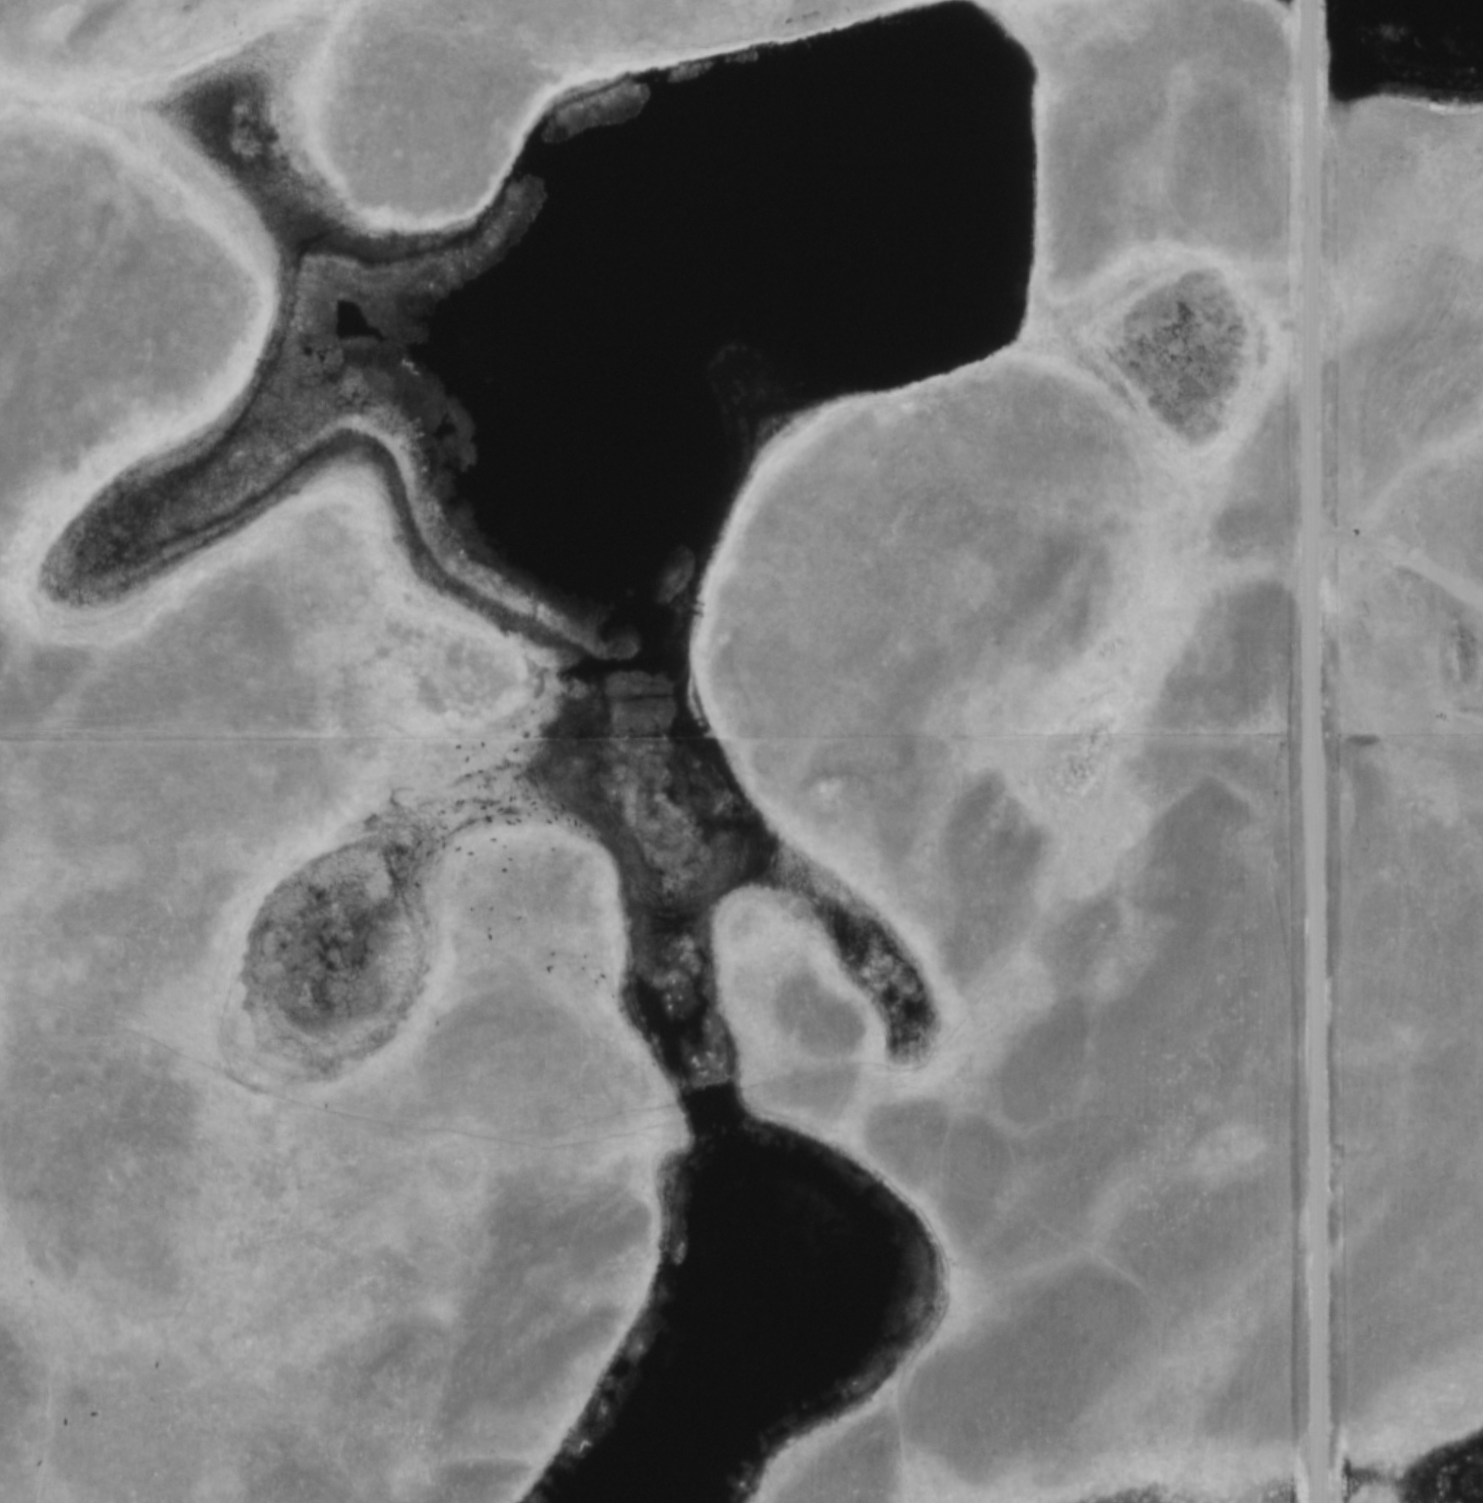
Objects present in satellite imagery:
road: (1412, 539)
quarry: (1451, 582)
road: (1313, 751)

